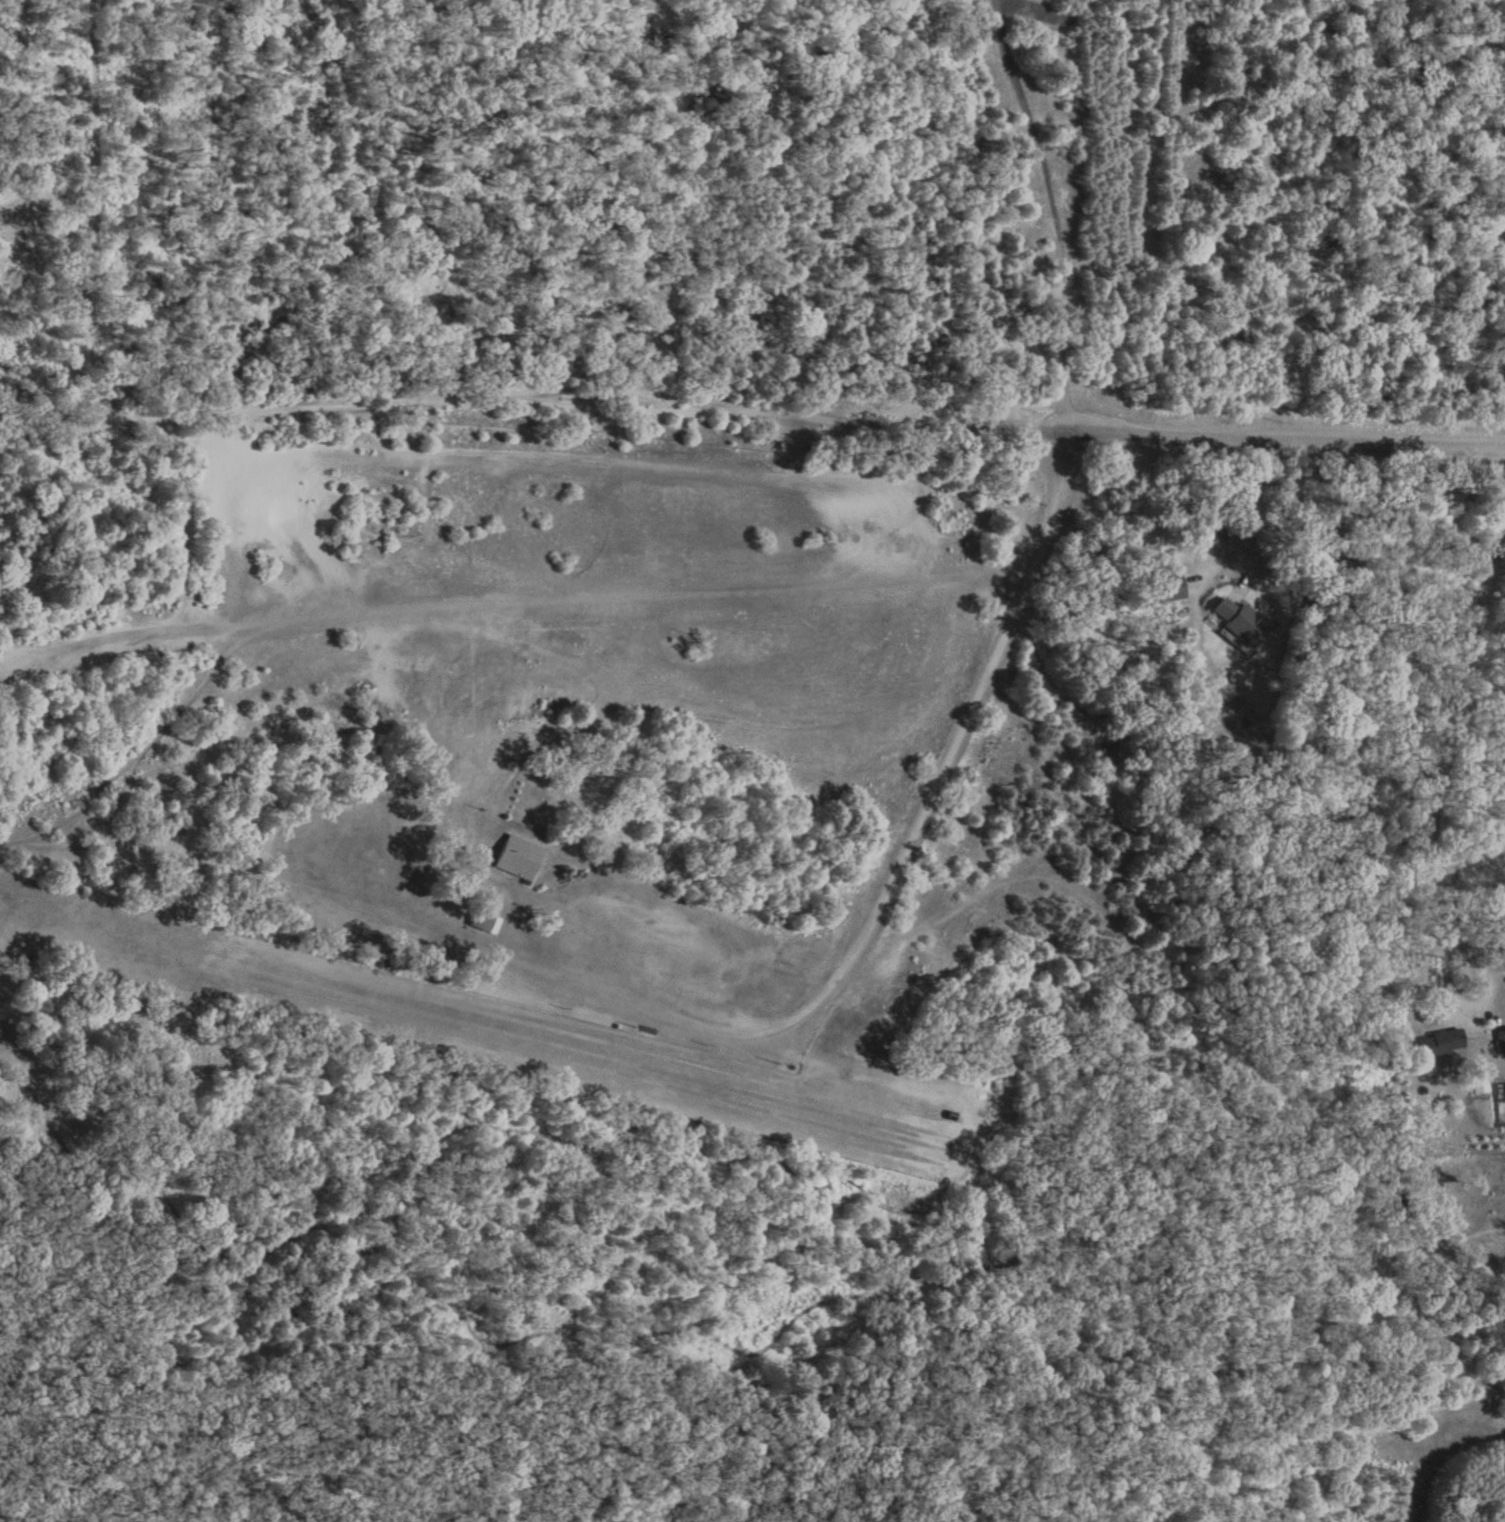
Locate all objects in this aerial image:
road: (753, 394)
road: (1247, 500)
building: (1238, 622)
road: (1445, 702)
road: (885, 838)
building: (516, 857)
building: (482, 921)
road: (1477, 1004)
building: (1499, 1039)
building: (1436, 1043)

